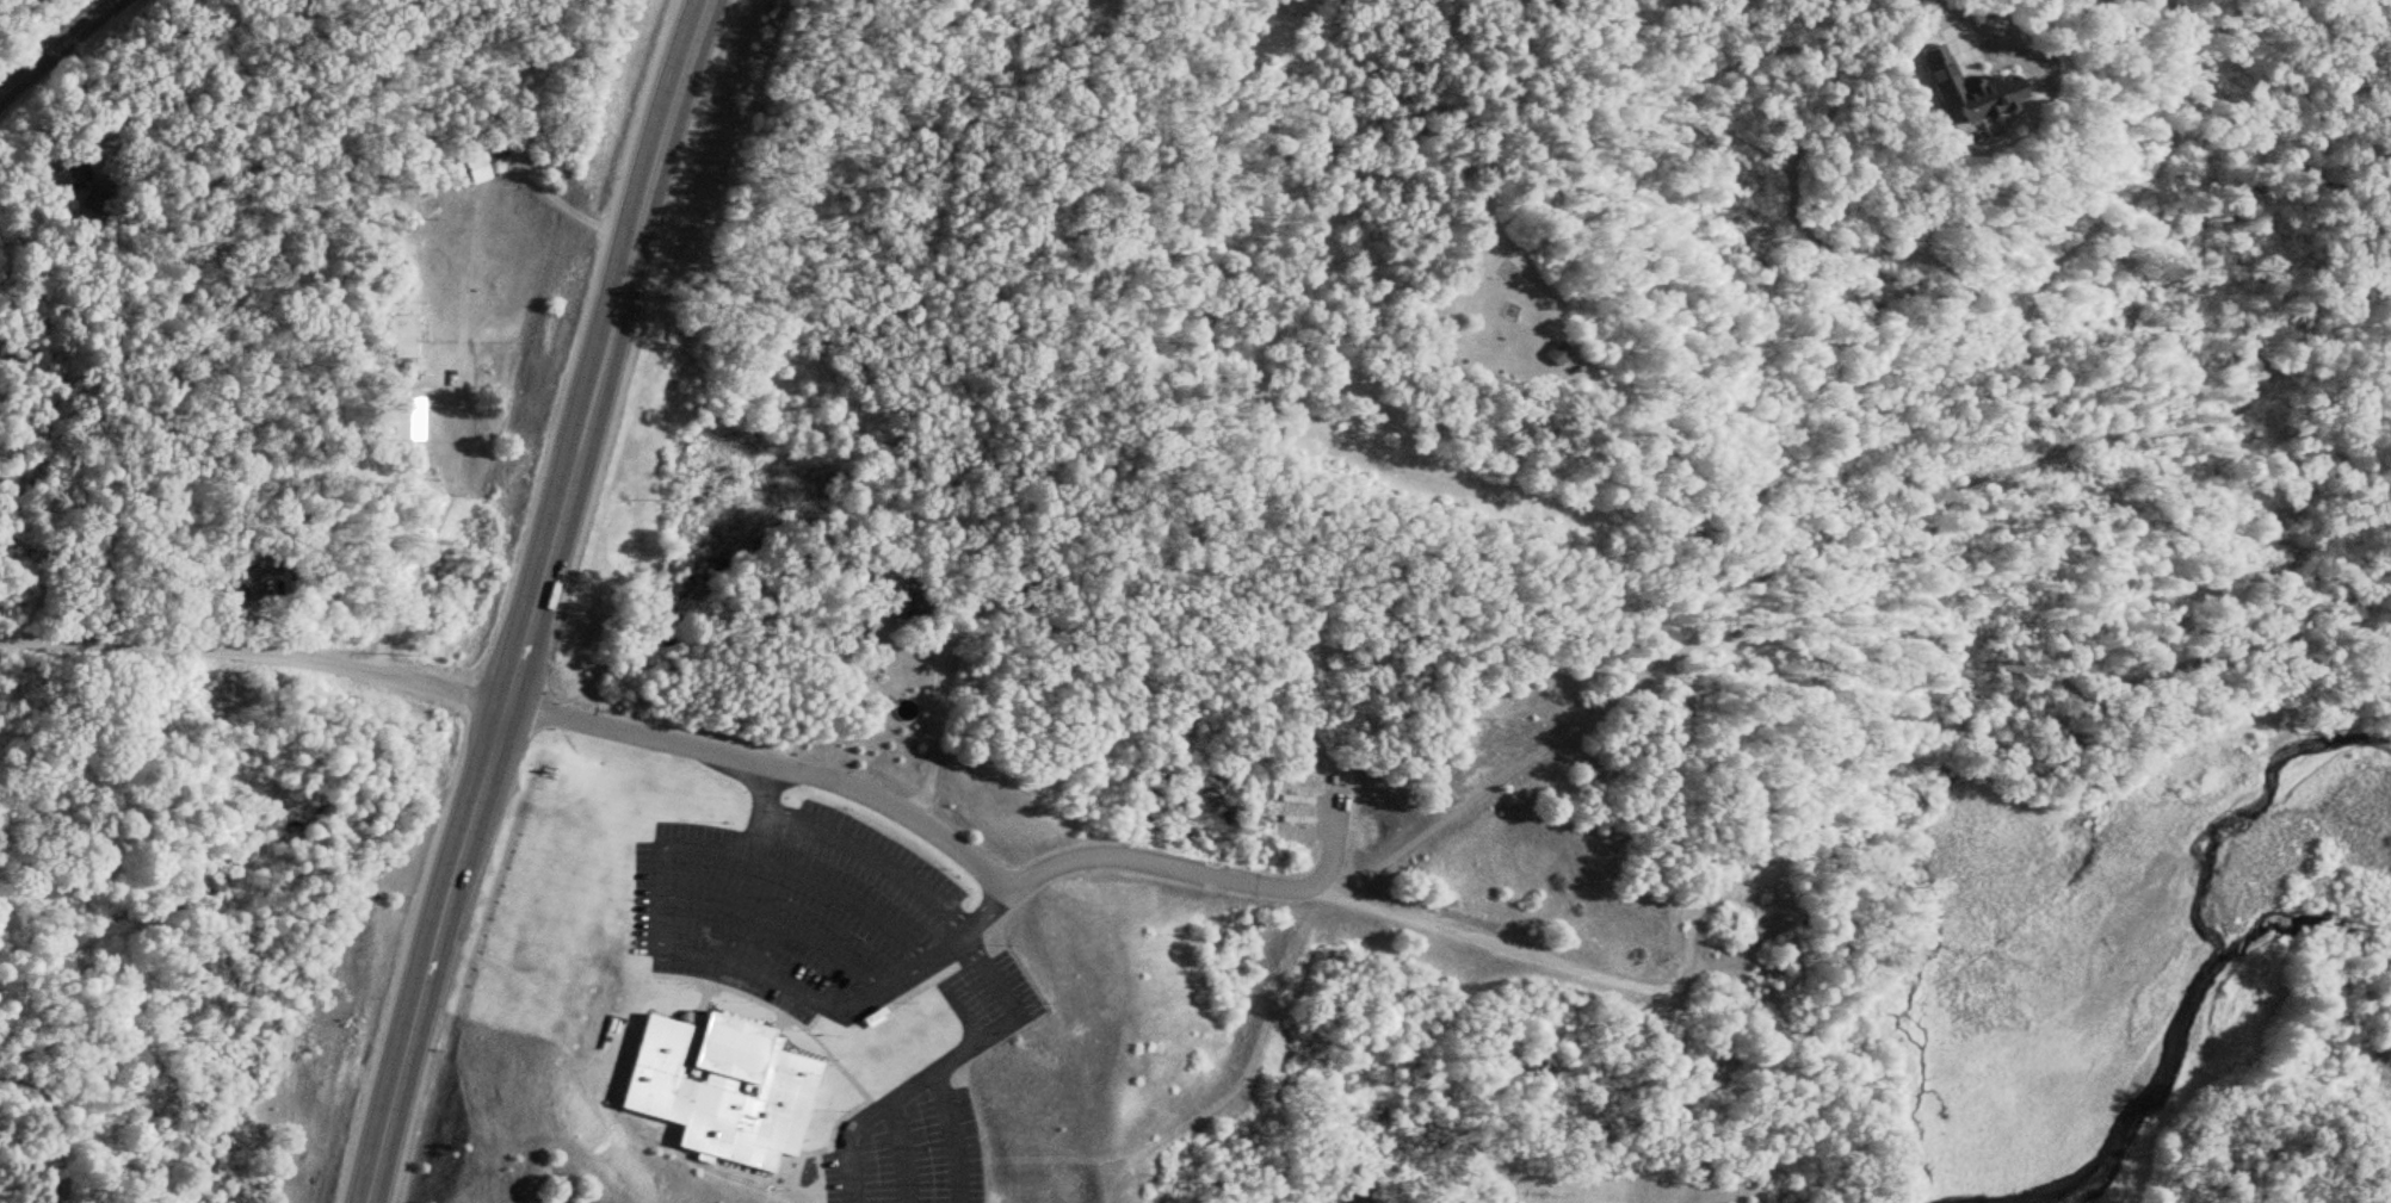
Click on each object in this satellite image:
road: (1953, 27)
road: (51, 41)
building: (1956, 88)
road: (562, 194)
building: (402, 336)
building: (1542, 353)
road: (526, 600)
road: (251, 651)
road: (943, 681)
road: (824, 705)
road: (755, 810)
road: (957, 848)
road: (866, 855)
road: (776, 920)
road: (663, 942)
parking lot: (830, 965)
road: (1596, 966)
road: (947, 999)
road: (1003, 1013)
road: (828, 1037)
road: (860, 1074)
building: (716, 1081)
road: (859, 1123)
road: (947, 1135)
road: (901, 1152)

